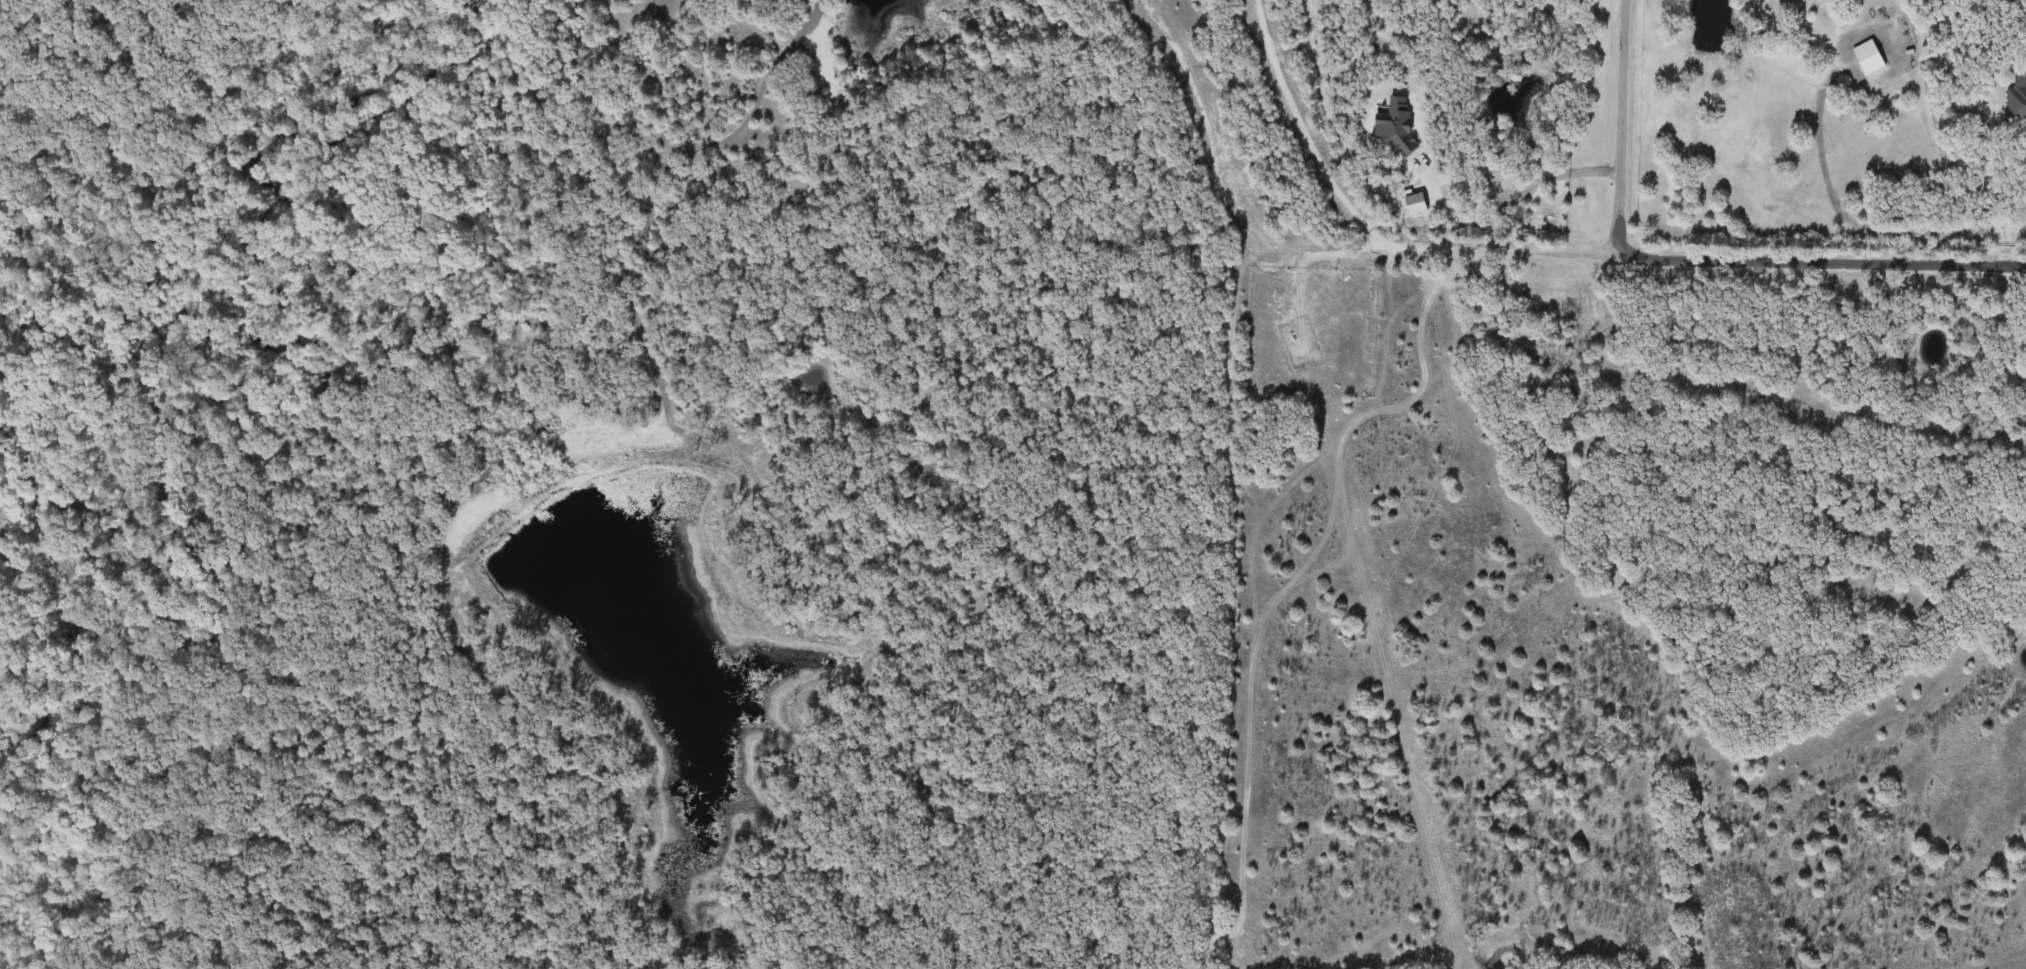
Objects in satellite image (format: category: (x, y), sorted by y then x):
building: (1869, 56)
building: (2017, 104)
road: (1626, 126)
road: (1559, 170)
road: (1991, 192)
road: (1844, 216)
road: (1567, 251)

